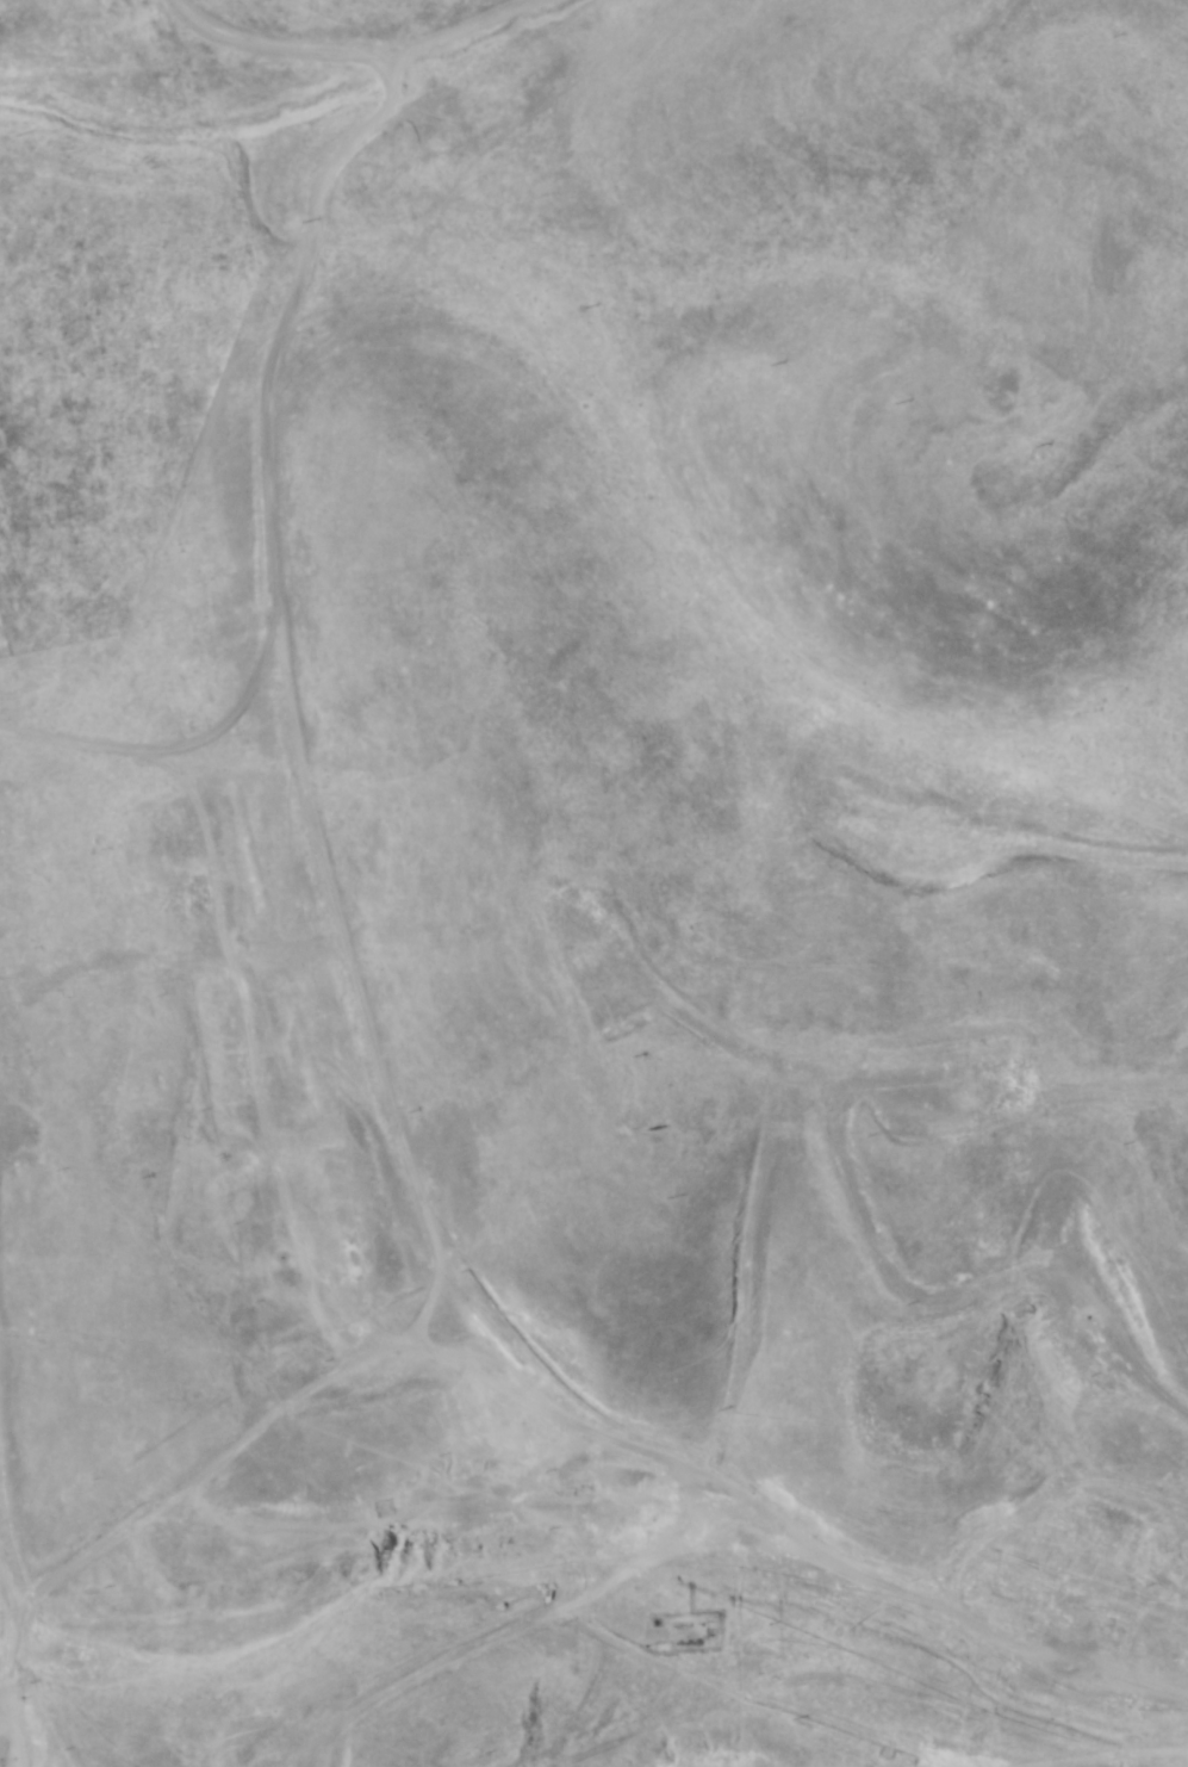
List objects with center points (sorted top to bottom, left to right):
road: (286, 117)
road: (284, 872)
road: (474, 1382)
road: (374, 1472)
road: (537, 1641)
road: (1, 1754)

